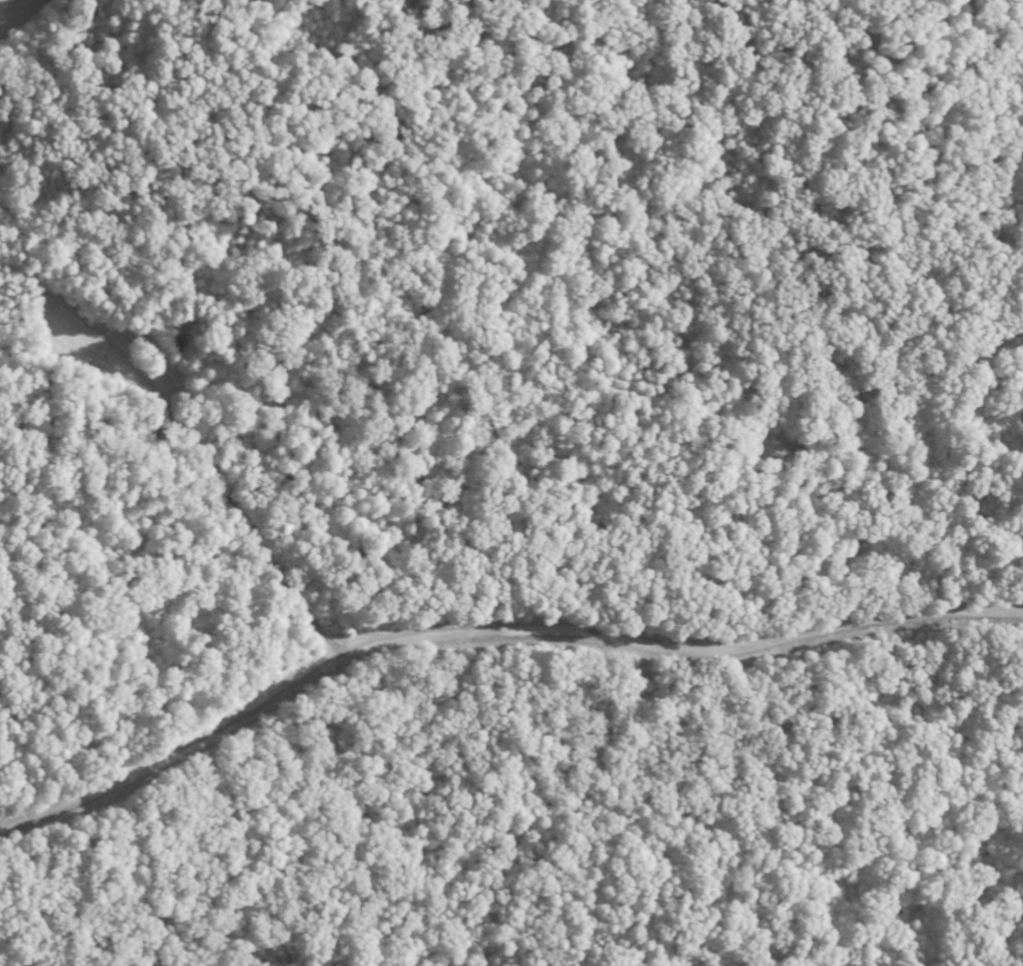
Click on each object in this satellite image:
road: (491, 633)

